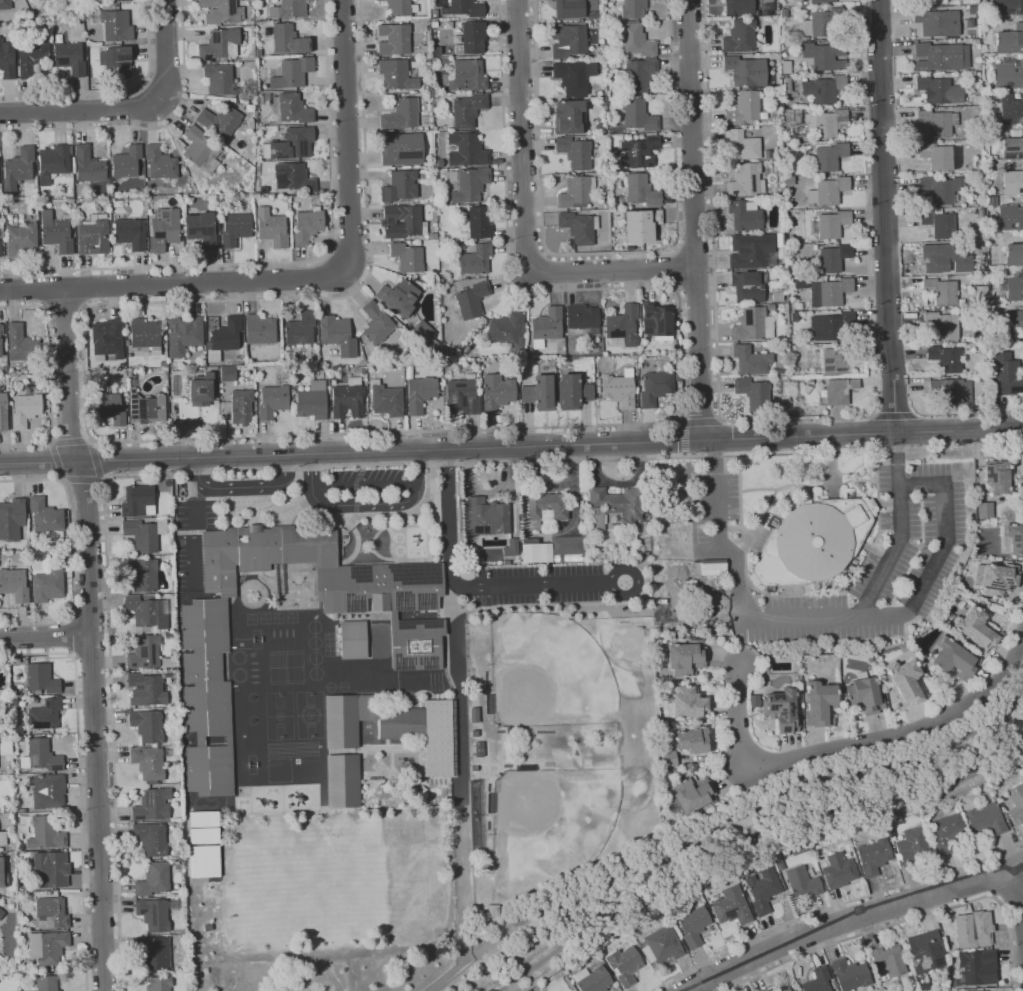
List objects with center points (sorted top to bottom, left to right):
building: (28, 0)
building: (31, 0)
building: (121, 0)
building: (821, 1)
building: (931, 1)
building: (5, 4)
building: (398, 7)
building: (739, 7)
building: (1006, 7)
building: (465, 8)
building: (633, 8)
building: (288, 9)
building: (569, 9)
building: (222, 11)
building: (757, 13)
building: (936, 22)
building: (819, 23)
building: (114, 24)
building: (590, 25)
building: (740, 36)
building: (474, 37)
building: (394, 39)
building: (289, 40)
building: (568, 40)
building: (634, 40)
building: (1009, 40)
building: (220, 46)
building: (424, 49)
building: (259, 52)
building: (820, 56)
building: (32, 57)
building: (936, 57)
building: (70, 58)
building: (427, 59)
building: (7, 60)
building: (445, 60)
building: (117, 61)
building: (746, 71)
building: (293, 73)
building: (638, 74)
building: (396, 75)
building: (1008, 75)
building: (468, 76)
building: (573, 76)
building: (219, 78)
building: (822, 88)
building: (938, 90)
road: (114, 92)
building: (775, 95)
building: (602, 102)
road: (129, 108)
building: (743, 108)
building: (1009, 108)
building: (294, 109)
building: (468, 110)
building: (604, 110)
building: (402, 115)
building: (567, 116)
building: (639, 116)
building: (220, 121)
building: (936, 122)
building: (824, 123)
building: (250, 124)
road: (149, 127)
building: (615, 129)
road: (347, 134)
building: (290, 145)
building: (740, 145)
building: (1012, 147)
building: (402, 149)
building: (467, 150)
building: (202, 151)
building: (575, 152)
building: (638, 152)
building: (768, 154)
building: (938, 155)
building: (828, 156)
building: (126, 162)
building: (53, 163)
building: (161, 163)
building: (440, 163)
building: (88, 165)
building: (18, 168)
building: (294, 177)
building: (746, 181)
building: (1012, 181)
building: (469, 184)
building: (400, 186)
building: (939, 188)
building: (641, 191)
building: (826, 191)
building: (577, 192)
building: (1022, 198)
building: (118, 203)
road: (712, 210)
building: (745, 215)
building: (97, 216)
road: (883, 217)
building: (1009, 217)
road: (694, 219)
road: (525, 221)
building: (415, 222)
building: (480, 222)
building: (830, 224)
building: (938, 224)
building: (641, 225)
building: (307, 226)
building: (579, 227)
building: (272, 228)
building: (164, 229)
building: (201, 229)
building: (235, 229)
building: (56, 232)
building: (130, 233)
building: (433, 236)
building: (93, 238)
building: (21, 239)
building: (0, 248)
road: (695, 248)
building: (751, 250)
road: (609, 254)
building: (1013, 254)
building: (408, 257)
building: (831, 257)
building: (942, 258)
building: (476, 259)
road: (291, 261)
road: (676, 268)
road: (173, 284)
road: (696, 286)
building: (748, 286)
road: (45, 288)
road: (82, 288)
building: (1013, 288)
building: (941, 291)
building: (828, 292)
building: (777, 295)
building: (399, 297)
building: (471, 300)
road: (65, 307)
building: (771, 307)
building: (582, 317)
building: (1013, 320)
building: (657, 321)
building: (376, 324)
building: (942, 324)
building: (753, 325)
building: (547, 326)
building: (830, 326)
building: (622, 327)
building: (260, 329)
building: (300, 329)
building: (424, 332)
building: (508, 332)
building: (185, 334)
building: (227, 334)
building: (146, 335)
building: (338, 335)
building: (108, 339)
building: (128, 343)
building: (22, 344)
building: (0, 346)
building: (945, 358)
building: (751, 360)
building: (836, 361)
building: (163, 364)
building: (5, 369)
building: (779, 370)
building: (226, 373)
building: (1005, 374)
road: (48, 376)
building: (29, 385)
building: (598, 385)
building: (655, 388)
building: (619, 389)
building: (202, 390)
building: (838, 391)
building: (950, 391)
building: (573, 392)
building: (497, 393)
building: (540, 393)
building: (420, 394)
building: (754, 394)
building: (462, 396)
building: (348, 399)
building: (386, 400)
building: (272, 401)
building: (312, 401)
building: (109, 406)
building: (241, 406)
building: (147, 408)
building: (25, 410)
building: (3, 411)
road: (893, 415)
road: (701, 421)
road: (333, 433)
road: (683, 438)
road: (511, 446)
road: (285, 469)
building: (997, 476)
parking lot: (364, 477)
road: (100, 479)
road: (364, 486)
building: (1020, 487)
road: (229, 488)
building: (139, 501)
road: (365, 504)
building: (545, 505)
building: (613, 506)
building: (984, 509)
building: (46, 515)
building: (484, 516)
road: (449, 517)
building: (12, 519)
road: (901, 532)
building: (145, 534)
road: (194, 534)
parking lot: (192, 536)
building: (1014, 536)
building: (812, 541)
building: (566, 544)
building: (510, 547)
road: (73, 552)
building: (262, 552)
building: (541, 552)
road: (939, 556)
building: (708, 567)
building: (142, 576)
building: (997, 578)
road: (638, 581)
road: (735, 582)
building: (14, 584)
parking lot: (538, 585)
building: (48, 586)
road: (532, 586)
building: (379, 588)
building: (146, 613)
building: (974, 629)
road: (73, 635)
road: (46, 636)
road: (92, 638)
building: (353, 639)
building: (415, 642)
building: (145, 652)
building: (685, 658)
building: (952, 659)
park: (548, 666)
building: (205, 668)
building: (42, 678)
building: (905, 681)
building: (147, 689)
road: (111, 692)
building: (864, 695)
building: (688, 703)
building: (818, 703)
building: (439, 706)
building: (780, 710)
building: (45, 715)
building: (341, 721)
building: (401, 723)
building: (147, 725)
building: (18, 729)
building: (20, 738)
building: (693, 740)
road: (853, 743)
building: (44, 755)
building: (668, 757)
building: (148, 762)
building: (209, 770)
road: (461, 772)
building: (342, 781)
road: (80, 786)
building: (47, 790)
building: (692, 794)
building: (153, 805)
building: (1016, 805)
building: (6, 809)
building: (23, 810)
road: (741, 817)
building: (986, 819)
park: (554, 826)
building: (202, 827)
building: (946, 831)
building: (46, 833)
building: (3, 837)
building: (151, 838)
building: (911, 846)
road: (1017, 855)
building: (873, 856)
building: (202, 861)
building: (48, 867)
building: (838, 870)
building: (3, 874)
park: (333, 877)
building: (154, 879)
road: (983, 879)
building: (802, 882)
road: (1018, 885)
building: (763, 889)
road: (1010, 893)
building: (174, 905)
building: (732, 905)
road: (833, 906)
building: (1, 913)
building: (51, 913)
building: (154, 914)
road: (856, 918)
road: (903, 921)
building: (693, 926)
building: (970, 932)
building: (663, 943)
building: (47, 946)
building: (925, 952)
building: (153, 954)
building: (888, 962)
building: (624, 964)
building: (975, 966)
building: (850, 974)
road: (447, 975)
building: (594, 980)
building: (818, 980)
building: (46, 983)
building: (160, 983)
building: (783, 989)
building: (767, 990)
building: (981, 990)

